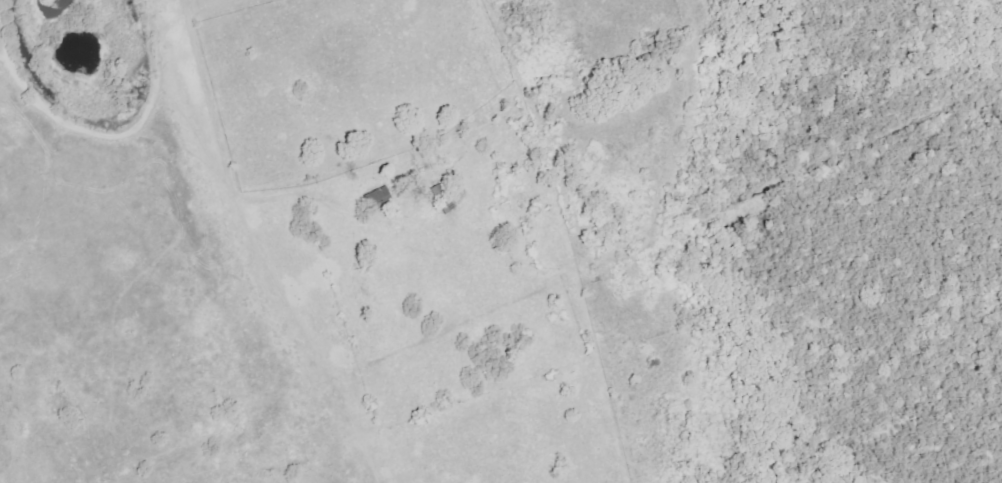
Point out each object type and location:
building: (378, 195)

